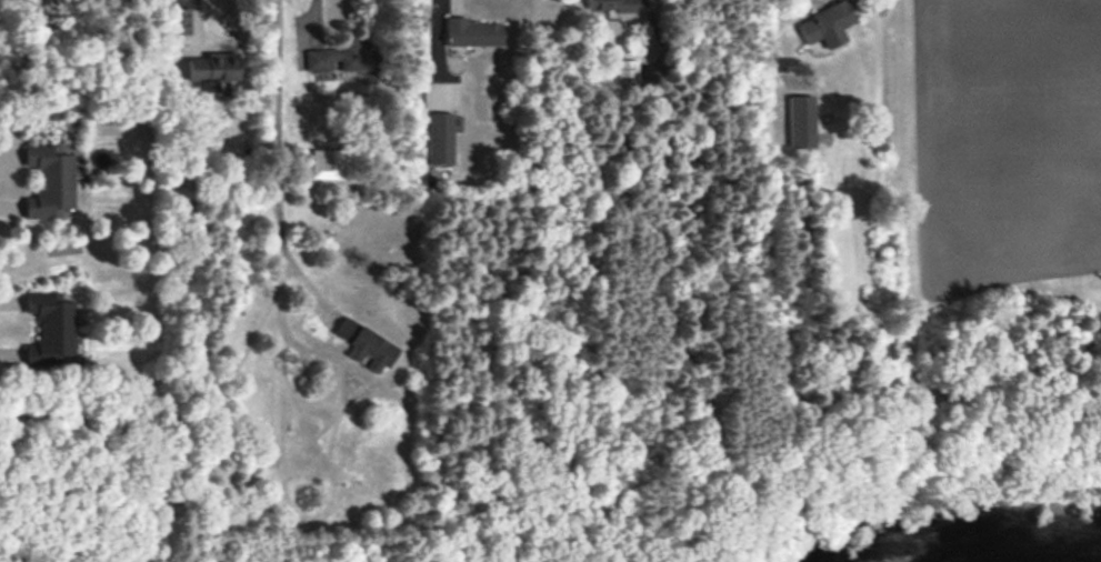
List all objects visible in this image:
building: (611, 6)
road: (193, 19)
road: (313, 19)
building: (179, 20)
building: (827, 24)
building: (471, 32)
road: (437, 51)
building: (343, 56)
building: (213, 67)
building: (625, 73)
building: (801, 121)
building: (440, 138)
road: (276, 161)
building: (329, 163)
building: (49, 181)
building: (51, 328)
building: (364, 344)
road: (777, 377)
river: (945, 555)

